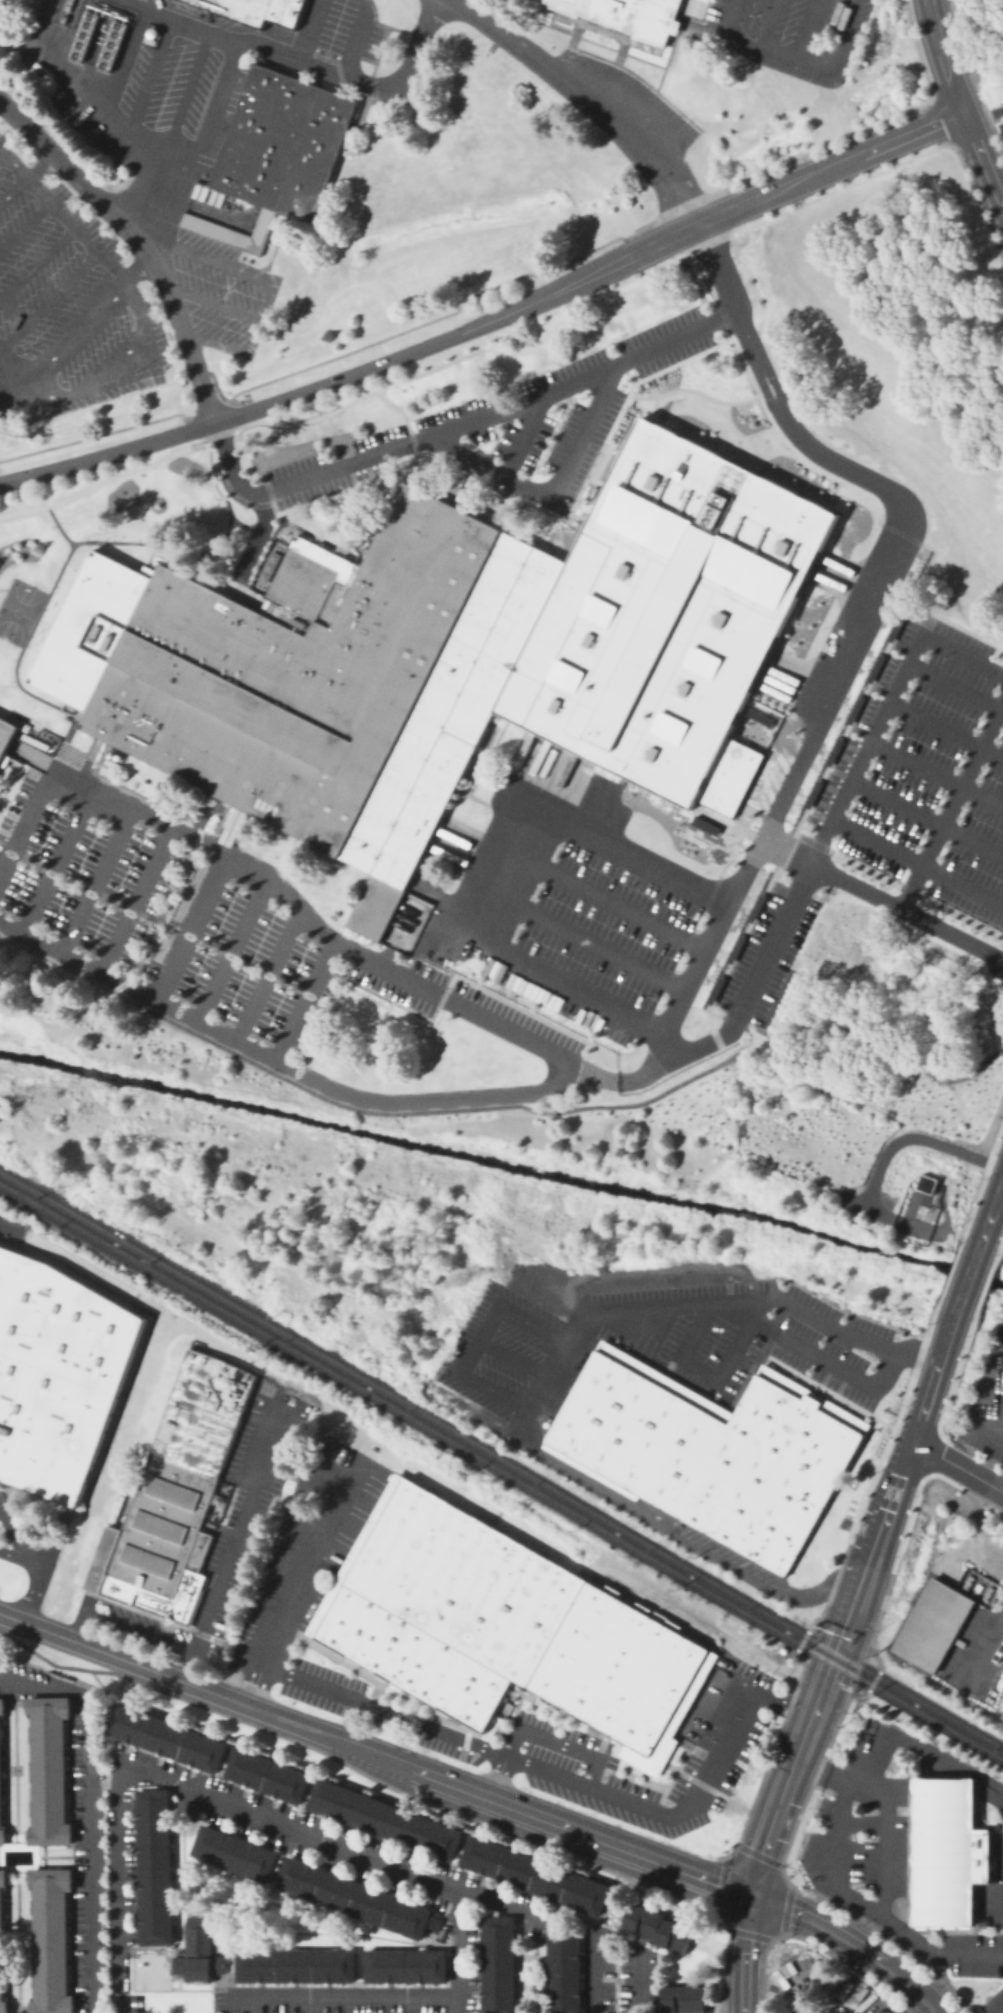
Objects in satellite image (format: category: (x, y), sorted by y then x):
road: (0, 0)
building: (254, 10)
building: (630, 14)
road: (171, 16)
road: (729, 17)
road: (767, 24)
road: (311, 28)
road: (808, 31)
parking lot: (789, 34)
building: (98, 35)
road: (360, 37)
road: (789, 58)
road: (126, 60)
road: (345, 73)
road: (150, 77)
road: (79, 89)
parking lot: (635, 89)
road: (587, 100)
road: (959, 105)
parking lot: (1002, 106)
road: (984, 115)
parking lot: (1000, 126)
road: (173, 130)
building: (284, 144)
road: (24, 176)
road: (796, 182)
road: (194, 202)
road: (70, 219)
road: (26, 224)
road: (137, 242)
road: (38, 261)
road: (261, 278)
road: (49, 298)
road: (212, 302)
parking lot: (66, 305)
road: (98, 307)
road: (751, 344)
road: (145, 350)
road: (7, 357)
road: (321, 385)
road: (506, 411)
road: (523, 437)
road: (555, 501)
park: (18, 610)
building: (895, 627)
building: (451, 655)
building: (874, 668)
road: (898, 688)
road: (956, 688)
road: (832, 689)
building: (854, 709)
building: (759, 717)
building: (489, 724)
building: (6, 733)
road: (946, 733)
building: (833, 752)
building: (3, 759)
building: (606, 772)
parking lot: (929, 775)
road: (937, 776)
building: (457, 789)
building: (812, 794)
road: (951, 804)
road: (927, 819)
building: (705, 825)
road: (822, 842)
flagpole: (719, 851)
flagpole: (713, 852)
flagpole: (717, 857)
road: (56, 860)
road: (918, 863)
road: (477, 870)
road: (95, 879)
road: (275, 880)
road: (80, 881)
road: (598, 895)
road: (134, 898)
road: (881, 899)
building: (755, 907)
road: (166, 909)
parking lot: (170, 911)
road: (192, 927)
road: (575, 940)
road: (234, 947)
building: (735, 948)
road: (62, 955)
road: (759, 972)
road: (269, 975)
building: (715, 990)
road: (305, 1002)
road: (748, 1028)
road: (890, 1044)
road: (631, 1080)
road: (340, 1092)
road: (370, 1111)
road: (906, 1138)
building: (925, 1183)
road: (989, 1220)
road: (957, 1239)
road: (967, 1282)
road: (720, 1297)
road: (726, 1311)
road: (748, 1324)
road: (646, 1325)
road: (479, 1339)
road: (946, 1344)
road: (513, 1357)
building: (56, 1374)
road: (984, 1380)
road: (923, 1412)
road: (983, 1430)
building: (710, 1450)
railway: (501, 1459)
road: (957, 1466)
railway: (501, 1471)
road: (895, 1492)
building: (170, 1498)
road: (240, 1513)
building: (681, 1526)
road: (662, 1528)
road: (18, 1538)
road: (18, 1556)
road: (300, 1562)
road: (37, 1571)
road: (28, 1601)
building: (935, 1625)
building: (502, 1626)
road: (134, 1630)
road: (73, 1631)
road: (831, 1643)
road: (854, 1652)
road: (983, 1652)
road: (28, 1655)
road: (190, 1658)
road: (252, 1685)
road: (785, 1706)
building: (1002, 1720)
building: (165, 1737)
road: (557, 1742)
road: (376, 1754)
road: (540, 1767)
building: (50, 1771)
building: (2, 1774)
building: (266, 1774)
road: (500, 1776)
road: (404, 1794)
road: (218, 1804)
building: (79, 1806)
road: (89, 1808)
road: (884, 1810)
building: (384, 1819)
road: (776, 1821)
road: (833, 1832)
building: (233, 1852)
building: (948, 1853)
building: (154, 1866)
building: (535, 1874)
traffic signals: (753, 1893)
building: (353, 1897)
building: (657, 1928)
building: (52, 1940)
road: (854, 1941)
building: (3, 1944)
building: (198, 1947)
road: (744, 1952)
road: (453, 1953)
building: (295, 1964)
building: (498, 1964)
building: (405, 1965)
building: (563, 1971)
road: (594, 1972)
building: (146, 1973)
road: (639, 1982)
road: (339, 1995)
building: (683, 1999)
road: (250, 2004)

